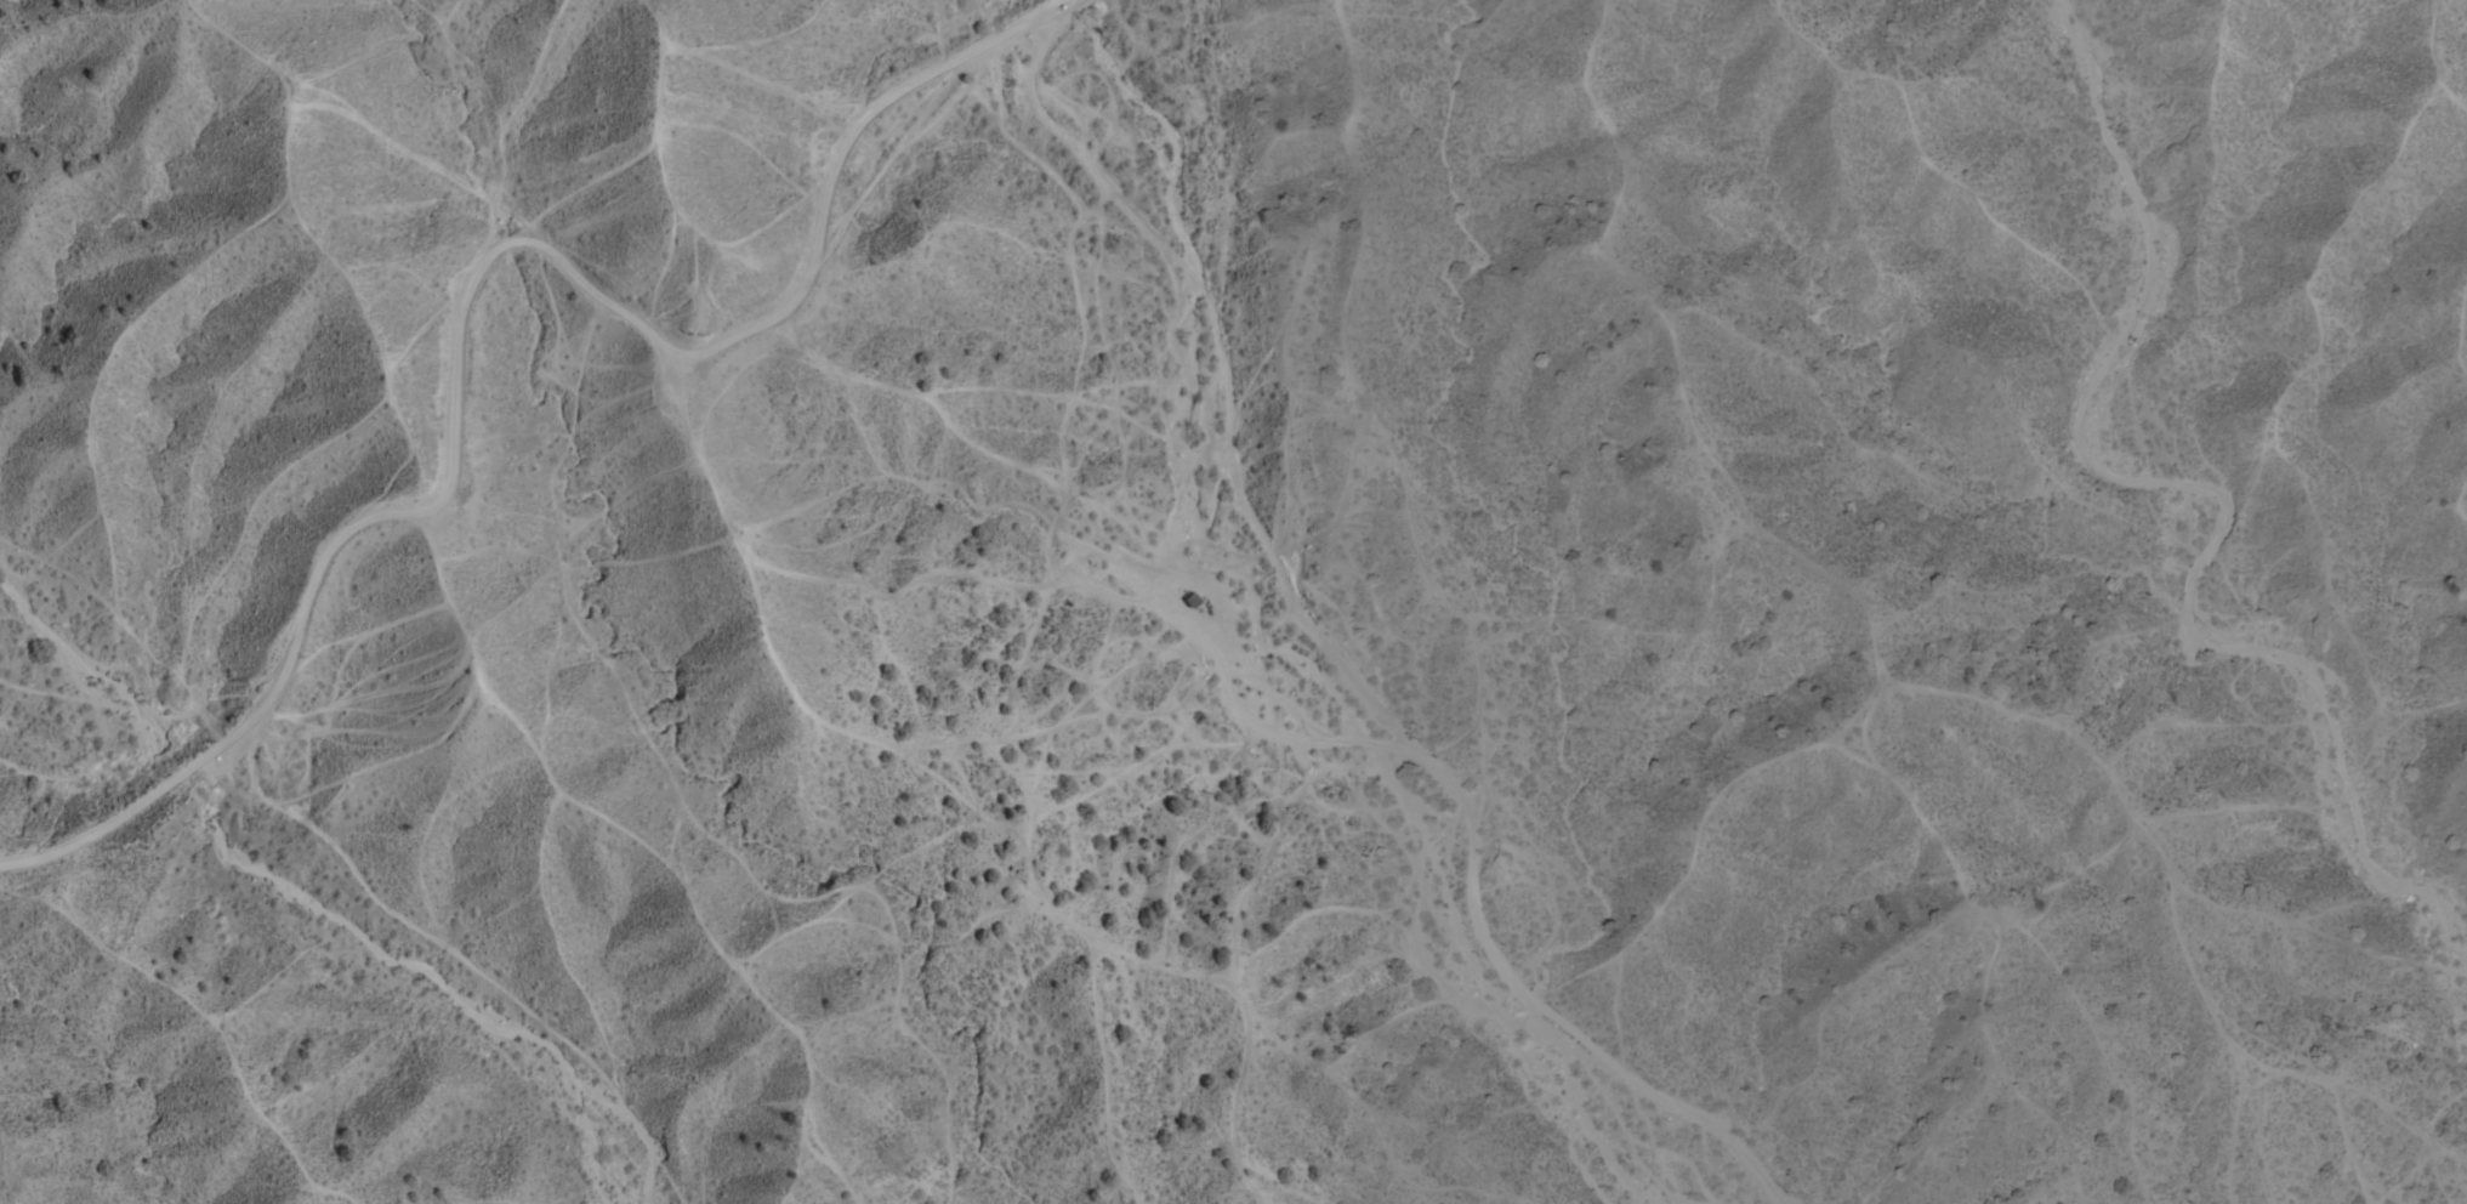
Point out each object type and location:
road: (709, 350)
road: (1331, 663)
road: (243, 719)

